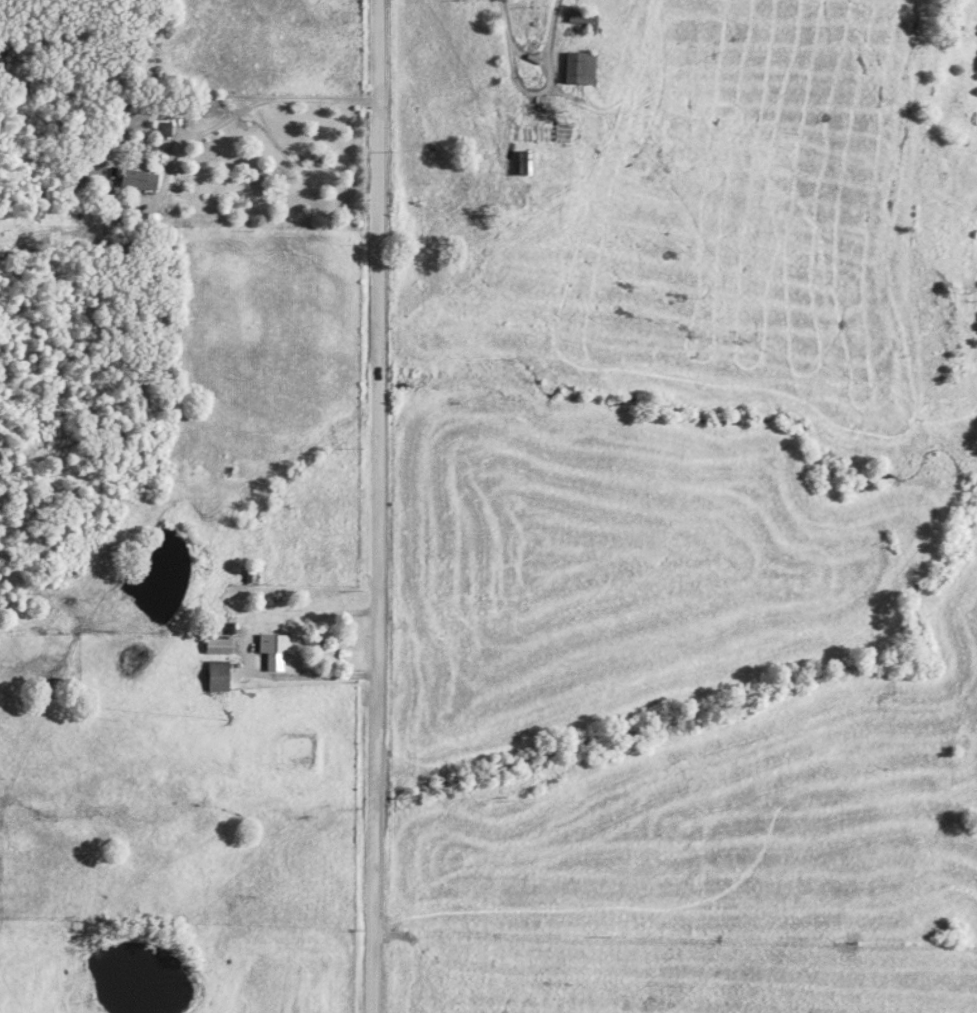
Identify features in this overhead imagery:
road: (500, 25)
building: (580, 70)
road: (517, 93)
road: (224, 100)
building: (164, 130)
building: (139, 181)
building: (153, 220)
road: (373, 506)
road: (312, 619)
building: (219, 646)
building: (275, 651)
building: (218, 676)
road: (277, 679)

